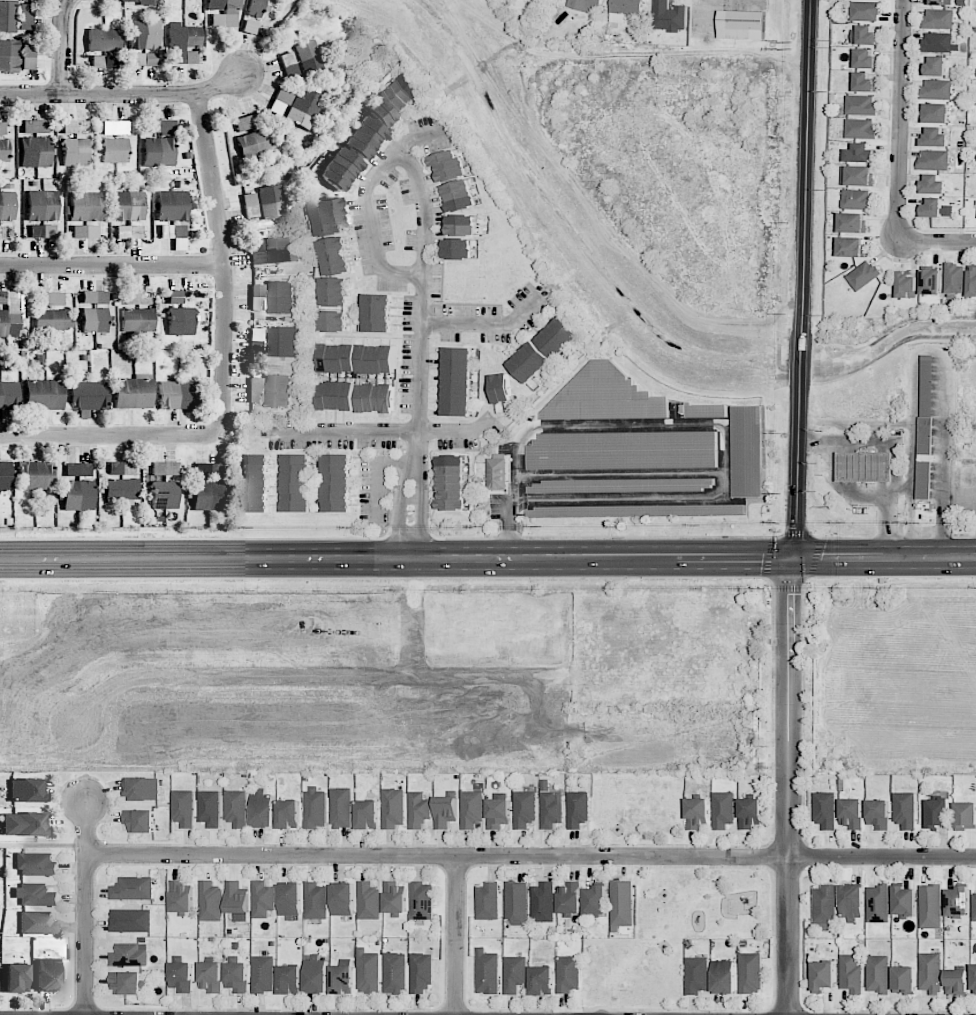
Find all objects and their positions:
building: (942, 0)
building: (128, 1)
building: (150, 2)
building: (585, 5)
building: (256, 8)
building: (624, 9)
building: (226, 11)
building: (865, 11)
building: (7, 16)
building: (668, 16)
building: (25, 17)
building: (938, 19)
building: (741, 24)
building: (249, 27)
building: (144, 34)
building: (864, 36)
building: (103, 40)
building: (939, 42)
building: (184, 44)
road: (64, 47)
building: (9, 56)
building: (28, 56)
building: (309, 57)
building: (144, 59)
building: (865, 59)
building: (103, 62)
building: (289, 65)
building: (935, 66)
building: (864, 82)
building: (937, 89)
road: (126, 95)
building: (281, 102)
building: (860, 104)
building: (304, 110)
building: (935, 113)
building: (380, 118)
road: (899, 121)
building: (36, 126)
building: (2, 127)
building: (160, 127)
building: (115, 128)
building: (860, 128)
building: (76, 129)
building: (934, 137)
building: (255, 144)
building: (4, 150)
building: (115, 151)
building: (35, 152)
building: (76, 152)
building: (158, 152)
building: (860, 153)
building: (933, 160)
building: (448, 166)
building: (339, 169)
road: (806, 169)
building: (857, 175)
building: (932, 184)
building: (459, 196)
building: (856, 199)
building: (272, 201)
road: (367, 201)
building: (42, 205)
building: (249, 205)
building: (7, 206)
building: (85, 206)
building: (129, 206)
building: (172, 206)
building: (935, 209)
building: (327, 217)
building: (852, 222)
building: (461, 225)
building: (42, 231)
building: (5, 232)
building: (85, 232)
building: (129, 232)
road: (936, 242)
building: (851, 247)
building: (457, 249)
building: (281, 250)
building: (257, 252)
building: (334, 256)
road: (227, 261)
road: (114, 266)
building: (863, 275)
building: (954, 278)
building: (930, 281)
building: (972, 281)
building: (906, 285)
road: (418, 287)
building: (333, 292)
building: (180, 297)
building: (257, 297)
building: (280, 297)
building: (137, 298)
building: (51, 299)
building: (9, 312)
building: (94, 312)
building: (377, 313)
building: (137, 319)
building: (53, 320)
building: (181, 321)
building: (332, 322)
road: (483, 324)
building: (282, 341)
building: (543, 349)
road: (929, 353)
building: (356, 359)
road: (800, 361)
building: (457, 381)
building: (500, 388)
building: (255, 390)
building: (277, 390)
building: (133, 392)
building: (44, 394)
building: (8, 395)
building: (177, 395)
building: (88, 396)
building: (335, 396)
building: (604, 396)
building: (376, 398)
building: (706, 410)
building: (924, 428)
road: (342, 431)
road: (460, 432)
road: (112, 436)
building: (623, 450)
building: (747, 451)
road: (899, 451)
building: (868, 466)
gas station: (868, 466)
building: (77, 469)
building: (164, 469)
building: (208, 469)
road: (797, 471)
building: (498, 474)
building: (5, 476)
building: (35, 476)
building: (451, 482)
building: (122, 483)
building: (255, 483)
building: (296, 483)
building: (336, 483)
building: (621, 486)
road: (839, 487)
road: (904, 490)
road: (959, 492)
building: (77, 495)
building: (164, 495)
building: (208, 495)
road: (414, 496)
building: (636, 510)
traffic signals: (791, 557)
road: (883, 557)
road: (395, 559)
road: (787, 785)
building: (141, 788)
building: (26, 790)
building: (550, 806)
building: (183, 808)
building: (209, 808)
building: (235, 808)
building: (314, 808)
building: (341, 808)
building: (393, 808)
building: (261, 809)
building: (524, 809)
building: (577, 809)
building: (723, 809)
building: (824, 809)
building: (904, 809)
building: (418, 810)
building: (472, 810)
building: (445, 811)
building: (937, 811)
building: (498, 813)
building: (697, 813)
building: (750, 813)
building: (851, 813)
building: (288, 814)
building: (367, 814)
building: (878, 814)
building: (965, 815)
building: (139, 820)
building: (23, 824)
road: (531, 857)
building: (36, 864)
building: (132, 888)
building: (35, 895)
building: (181, 897)
building: (394, 898)
building: (569, 898)
building: (262, 899)
building: (289, 899)
building: (342, 899)
building: (237, 900)
building: (595, 900)
park: (706, 900)
building: (210, 901)
building: (315, 901)
building: (368, 901)
building: (421, 901)
building: (487, 901)
building: (904, 901)
building: (542, 902)
building: (957, 902)
building: (516, 903)
building: (622, 903)
building: (851, 903)
building: (878, 903)
building: (824, 904)
building: (930, 906)
building: (974, 907)
road: (86, 909)
building: (130, 920)
building: (37, 923)
road: (457, 936)
building: (129, 955)
building: (368, 971)
building: (488, 971)
building: (421, 972)
building: (930, 972)
building: (394, 973)
building: (515, 973)
building: (750, 973)
building: (851, 973)
building: (263, 974)
building: (568, 974)
building: (877, 974)
building: (48, 975)
building: (316, 975)
building: (697, 975)
building: (823, 975)
building: (181, 976)
building: (210, 976)
building: (237, 977)
building: (723, 977)
building: (17, 978)
building: (289, 979)
building: (342, 979)
building: (973, 979)
building: (542, 980)
building: (903, 980)
building: (956, 981)
building: (125, 982)

